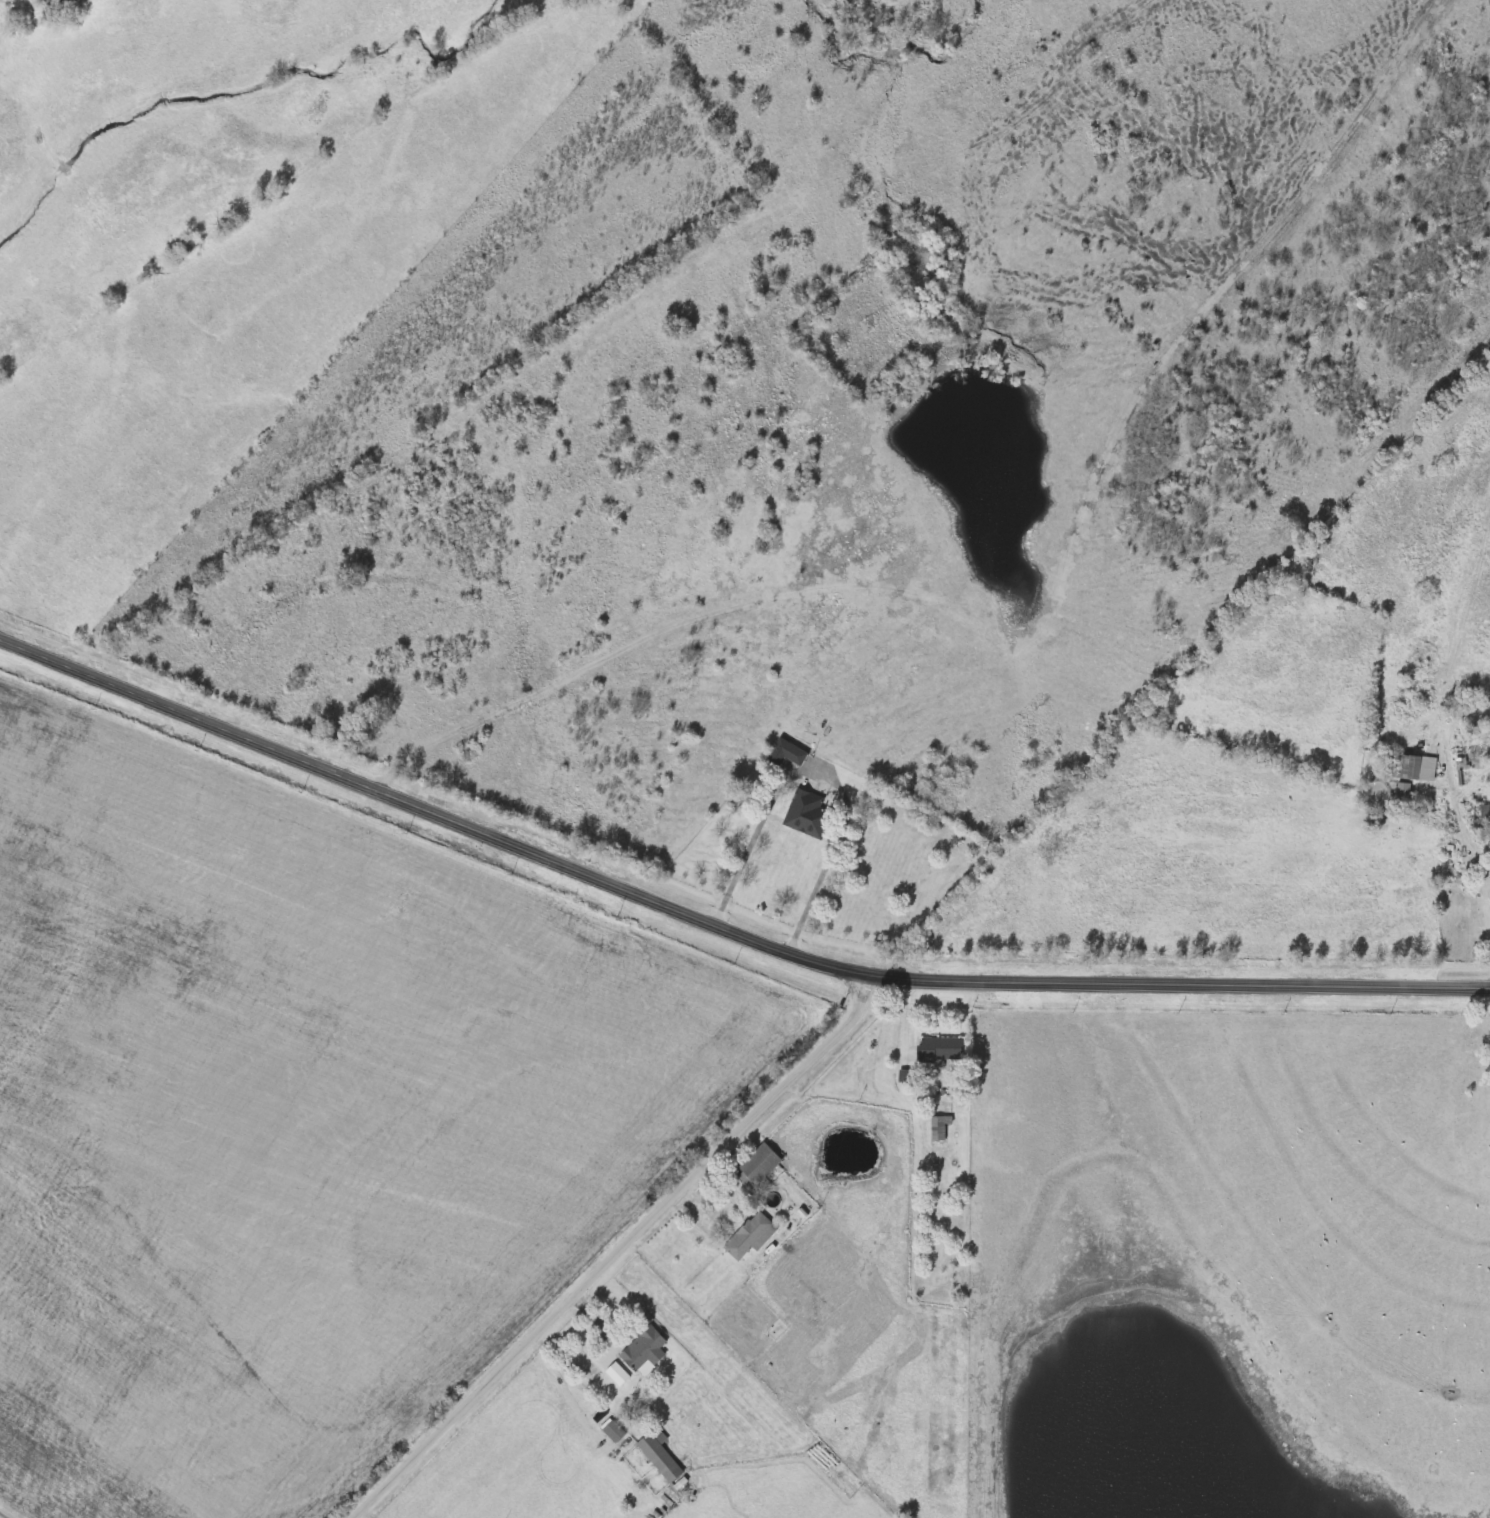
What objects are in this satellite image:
building: (785, 752)
road: (824, 772)
building: (1410, 773)
building: (807, 814)
building: (1480, 816)
road: (1466, 839)
building: (1488, 848)
road: (721, 925)
building: (939, 1050)
building: (938, 1128)
building: (758, 1164)
road: (814, 1192)
building: (750, 1235)
road: (622, 1250)
road: (600, 1313)
building: (643, 1350)
building: (613, 1431)
building: (659, 1455)
road: (5, 1514)

